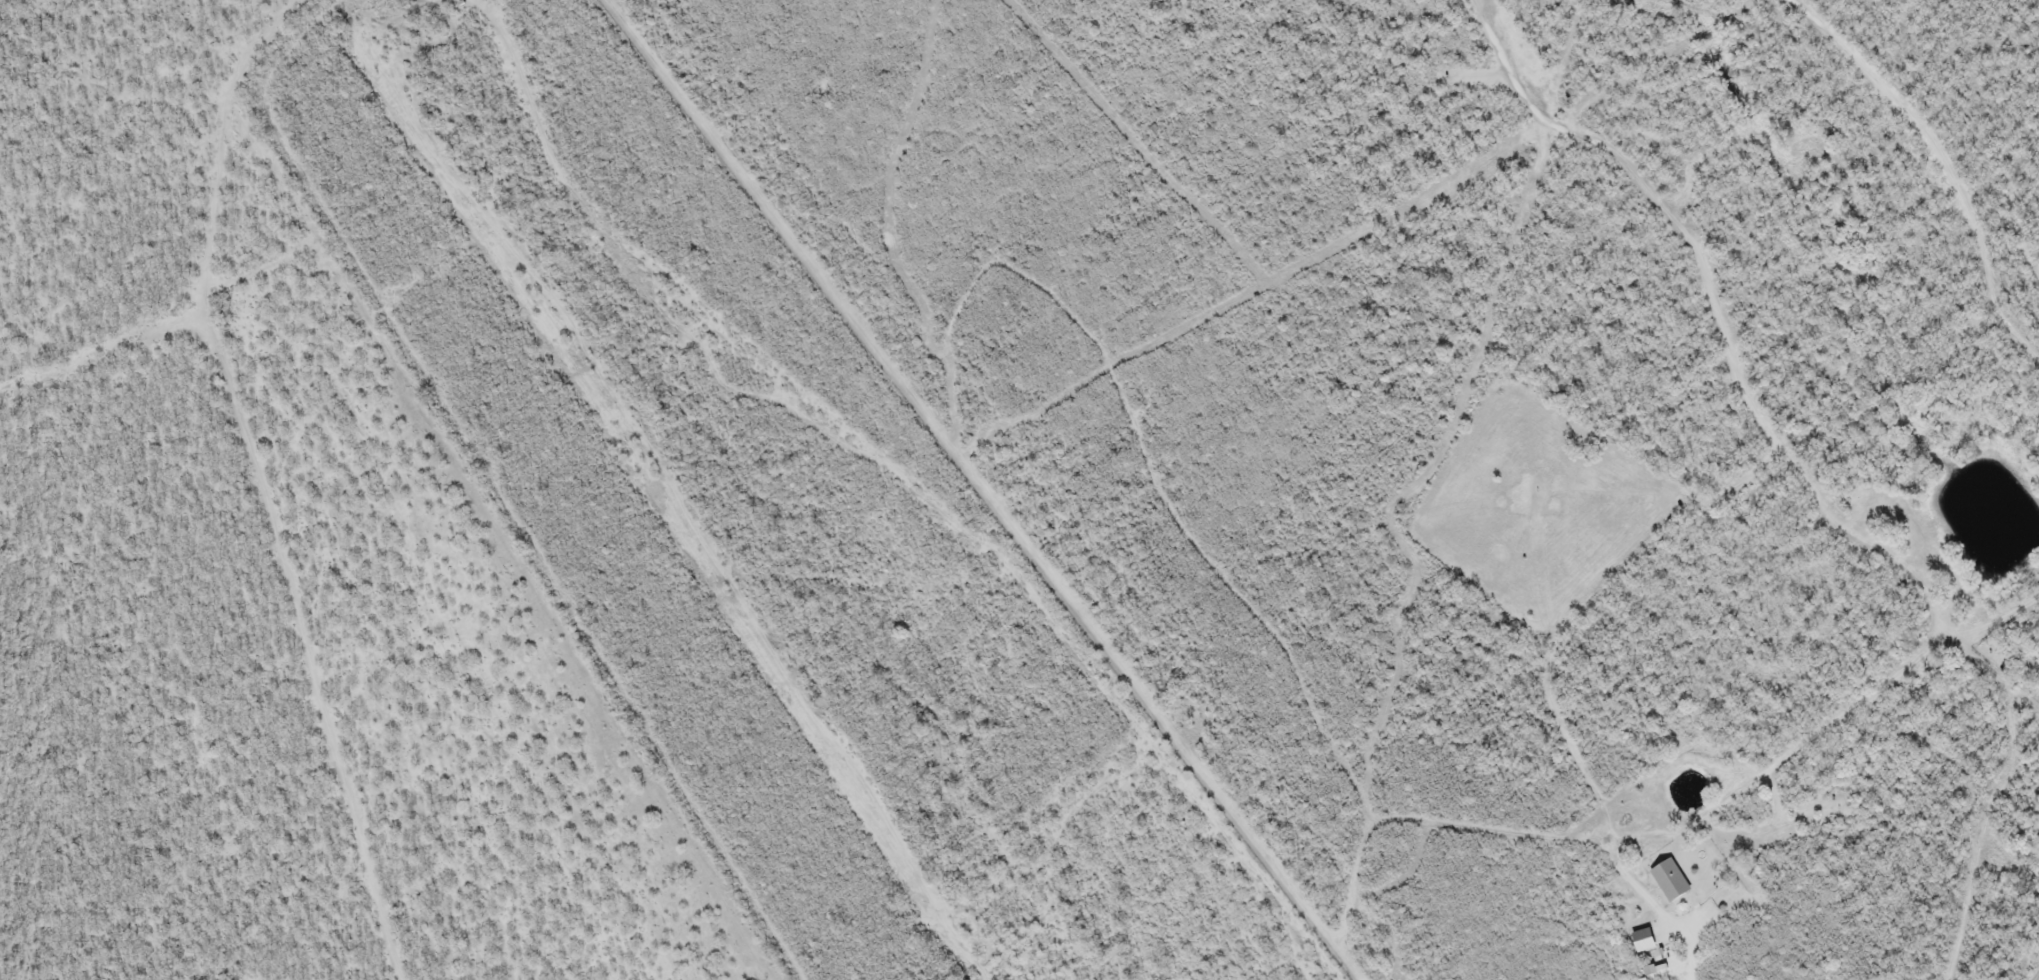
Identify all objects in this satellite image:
road: (1488, 832)
building: (1669, 882)
building: (1640, 942)

